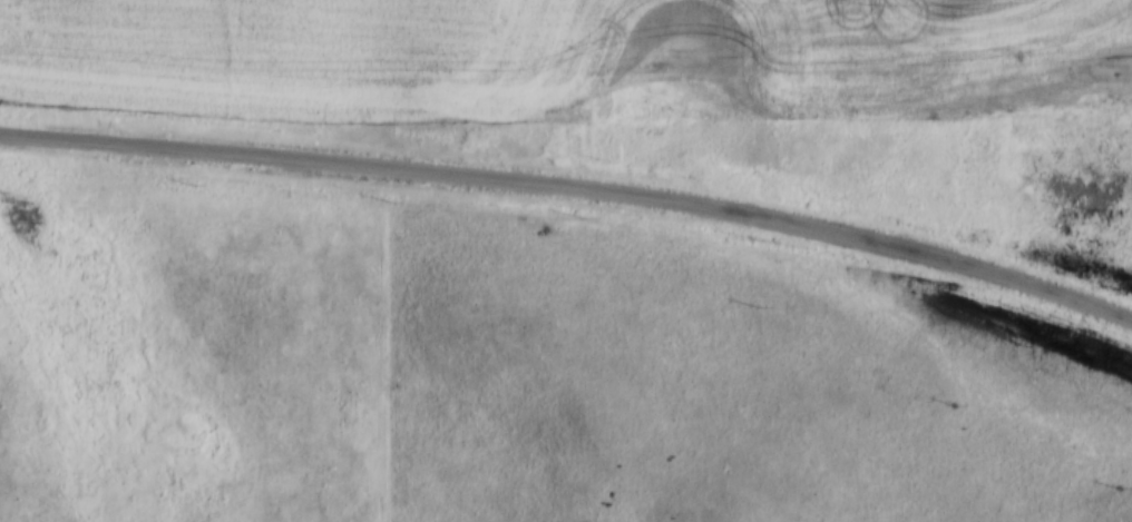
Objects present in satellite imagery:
road: (13, 132)
road: (586, 189)

